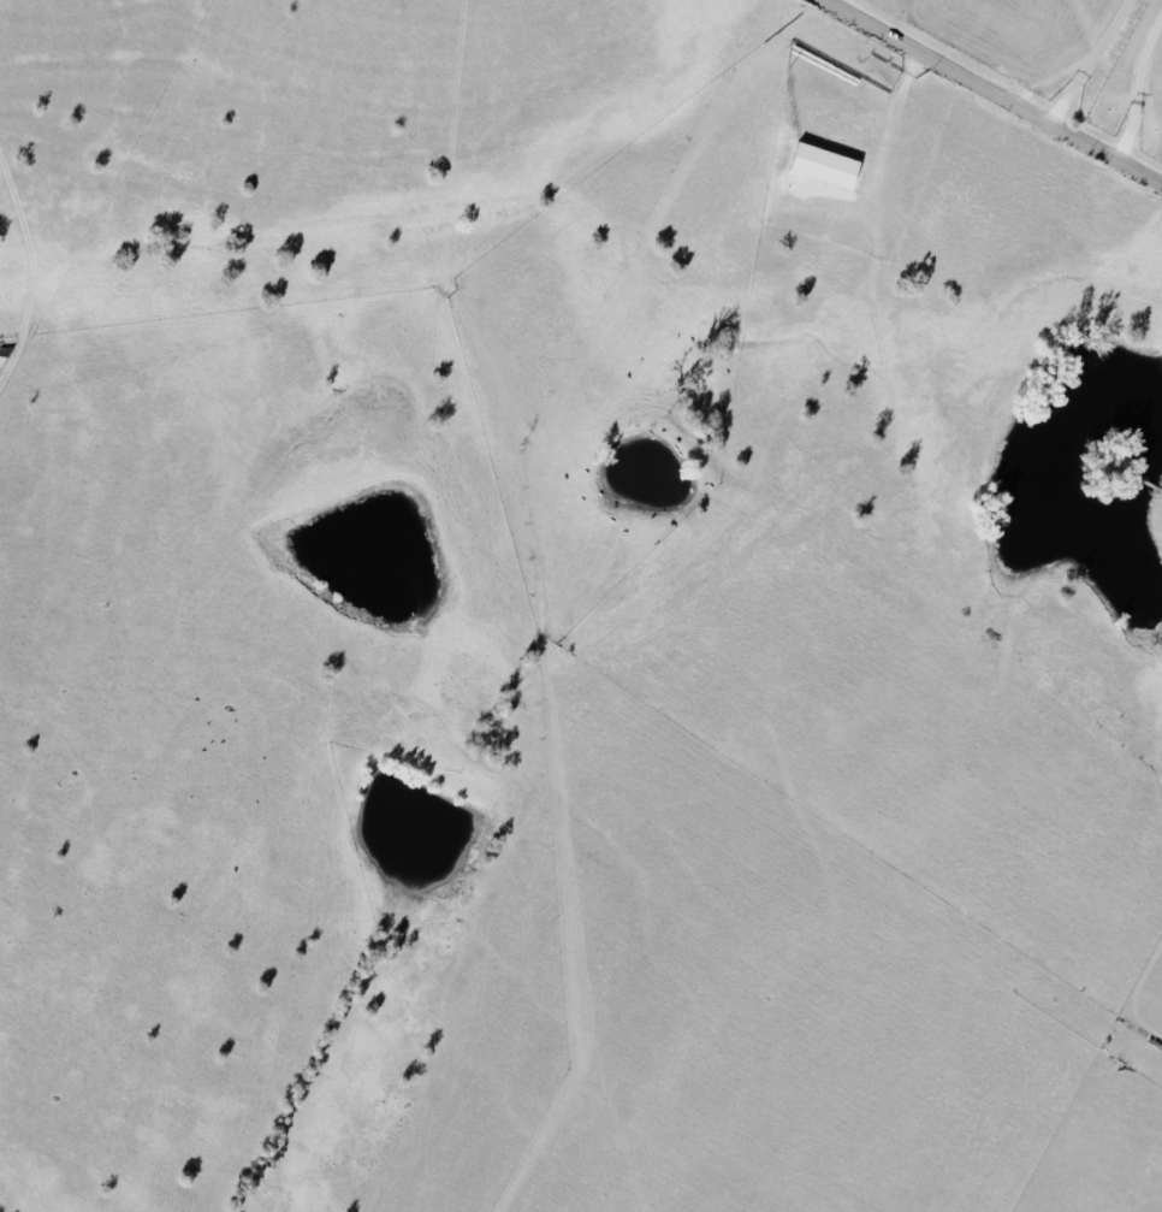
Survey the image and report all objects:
road: (1096, 69)
road: (984, 97)
road: (1138, 100)
building: (828, 165)

